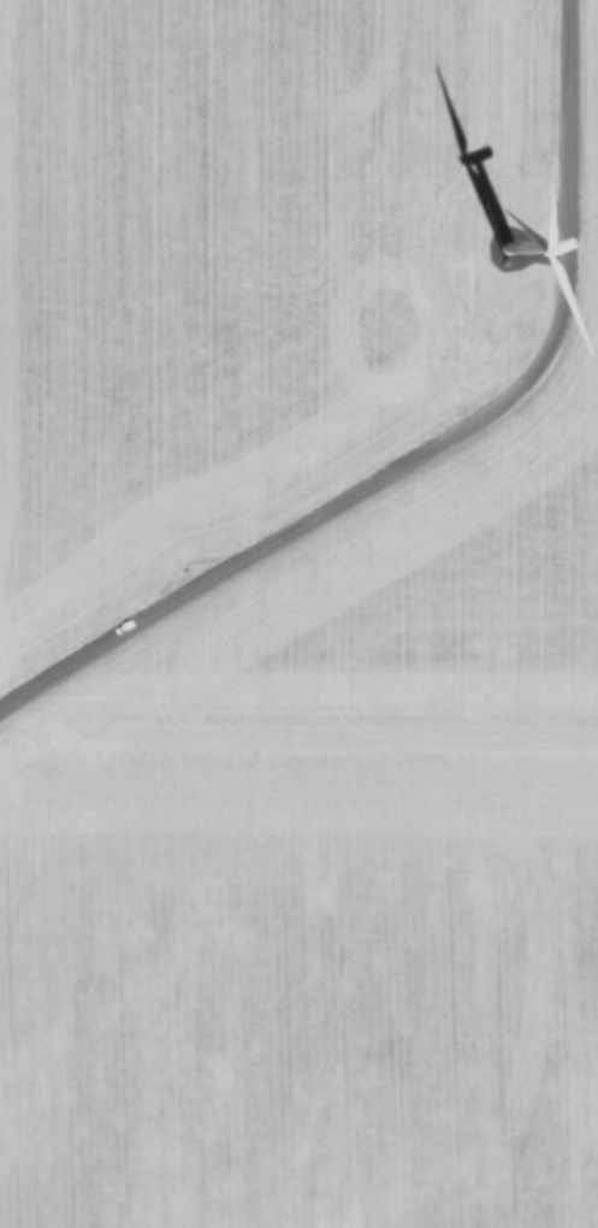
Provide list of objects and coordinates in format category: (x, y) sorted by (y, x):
wind turbine: (538, 247)
road: (427, 438)

